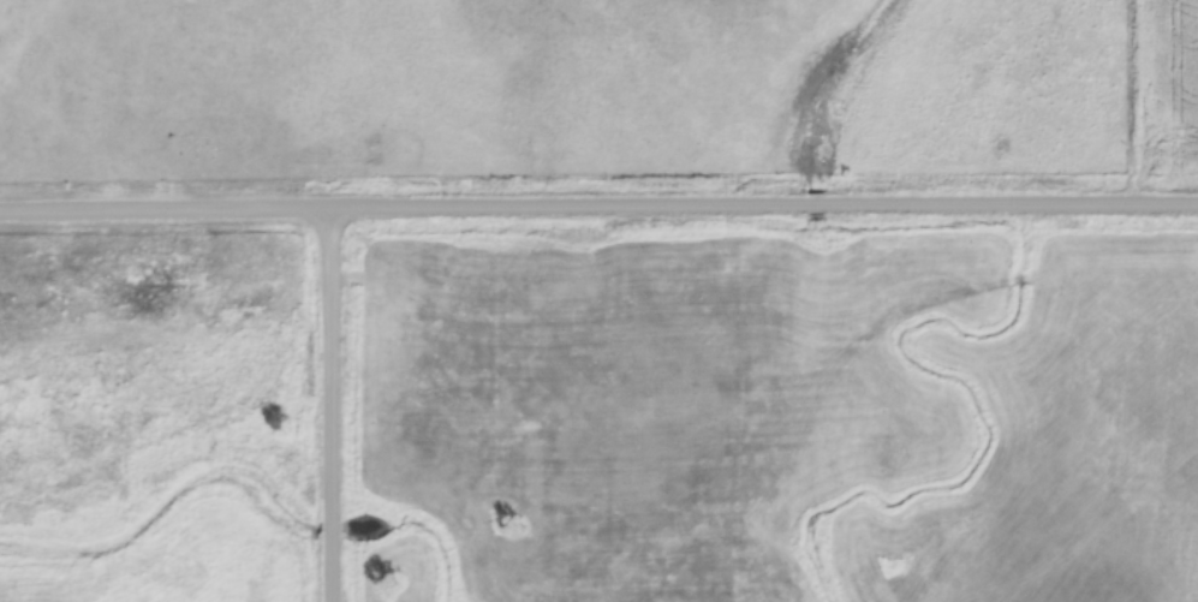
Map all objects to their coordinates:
road: (1013, 205)
road: (818, 207)
road: (404, 208)
road: (335, 405)

